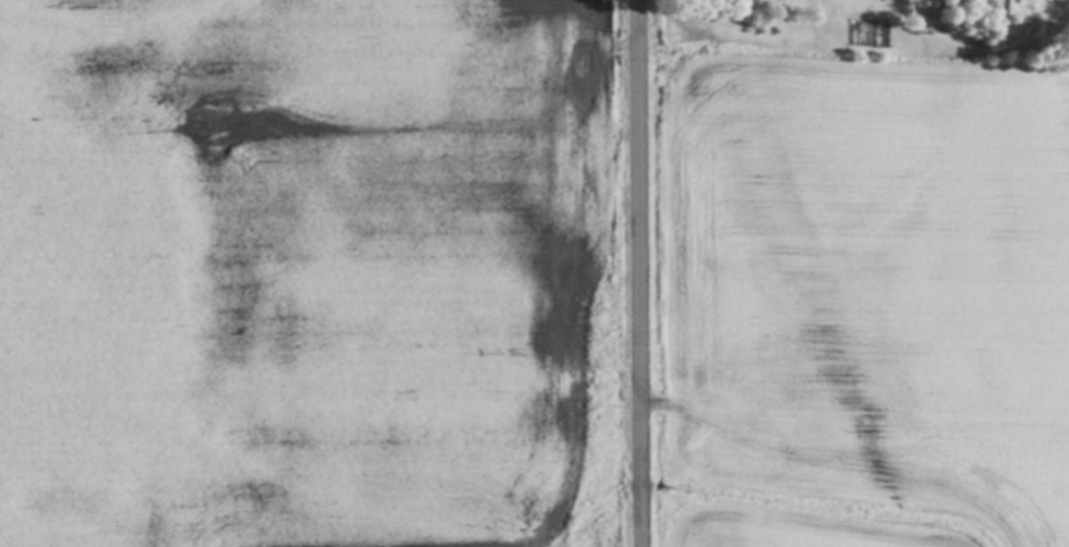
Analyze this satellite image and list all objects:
road: (634, 273)

